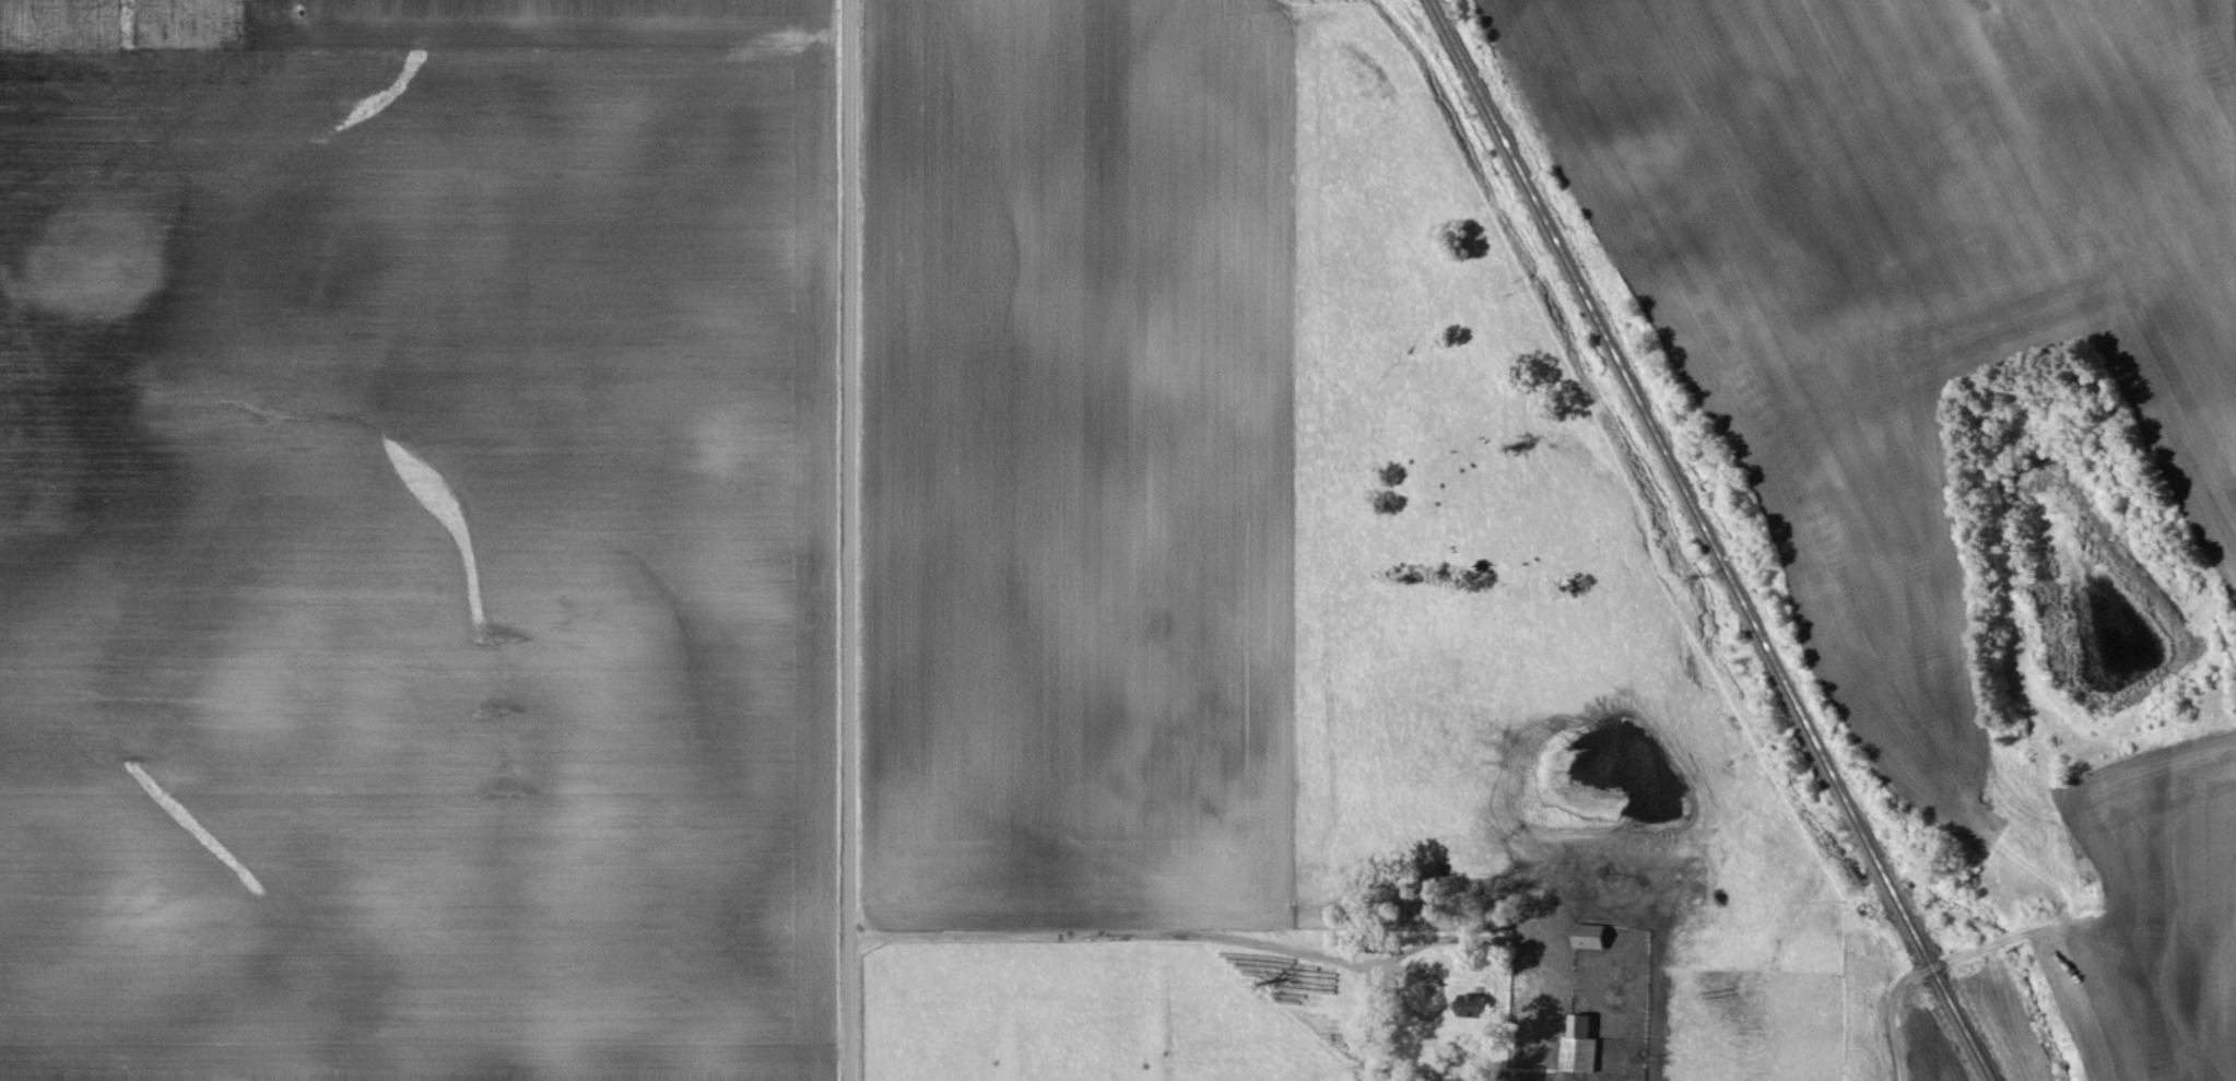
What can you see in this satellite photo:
road: (849, 540)
railway: (1709, 541)
road: (1097, 935)
building: (1589, 937)
building: (1580, 1047)

